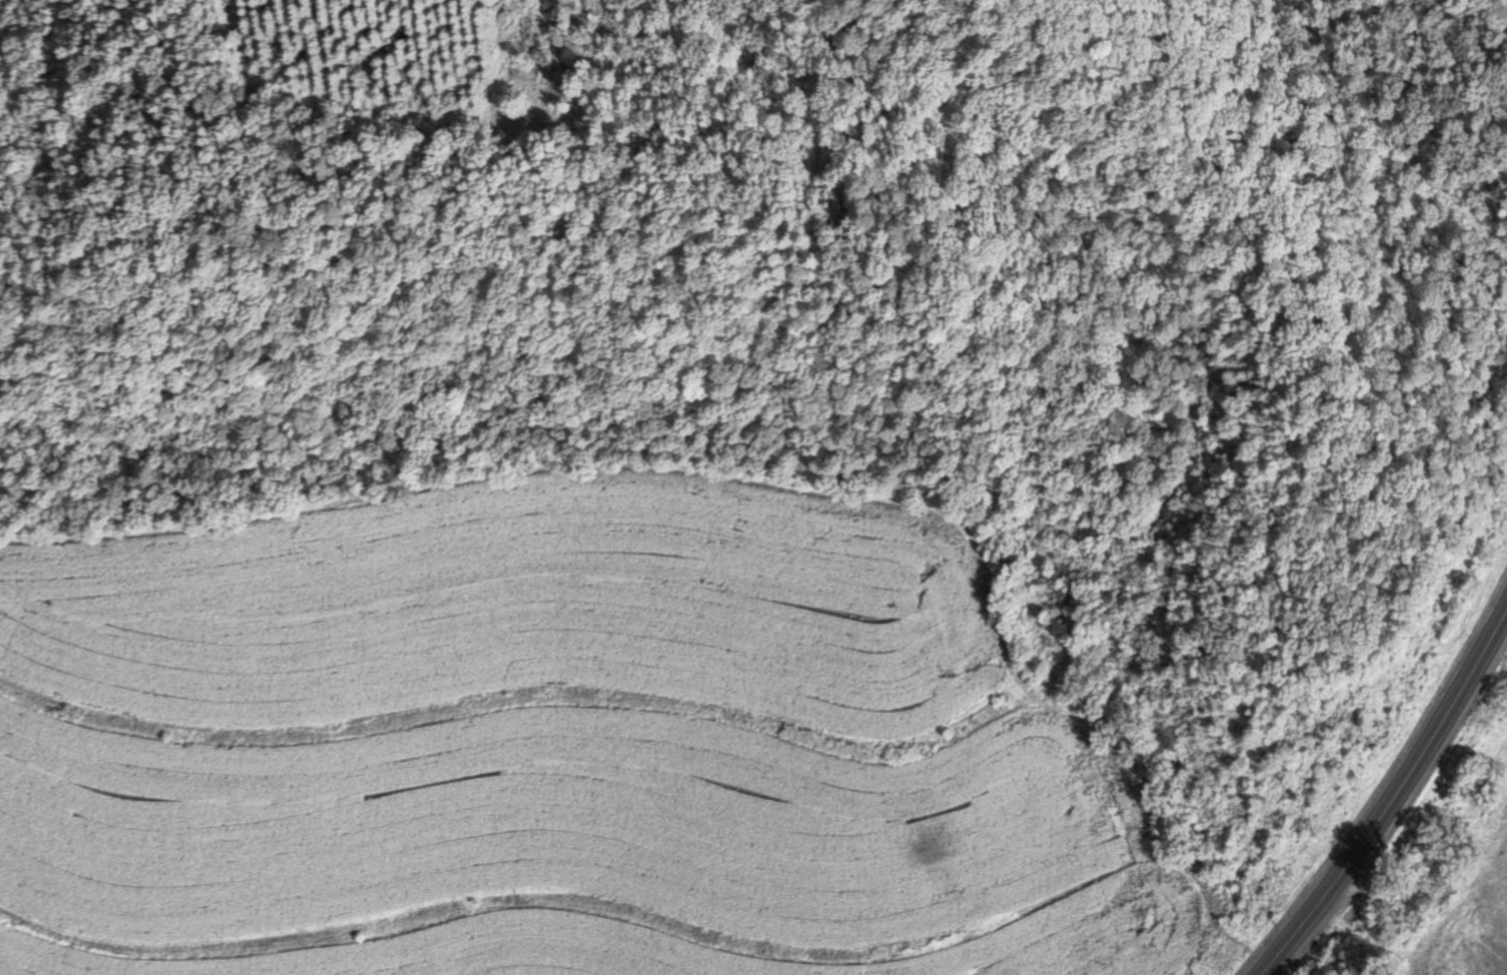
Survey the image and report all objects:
road: (1398, 788)
road: (1266, 968)

